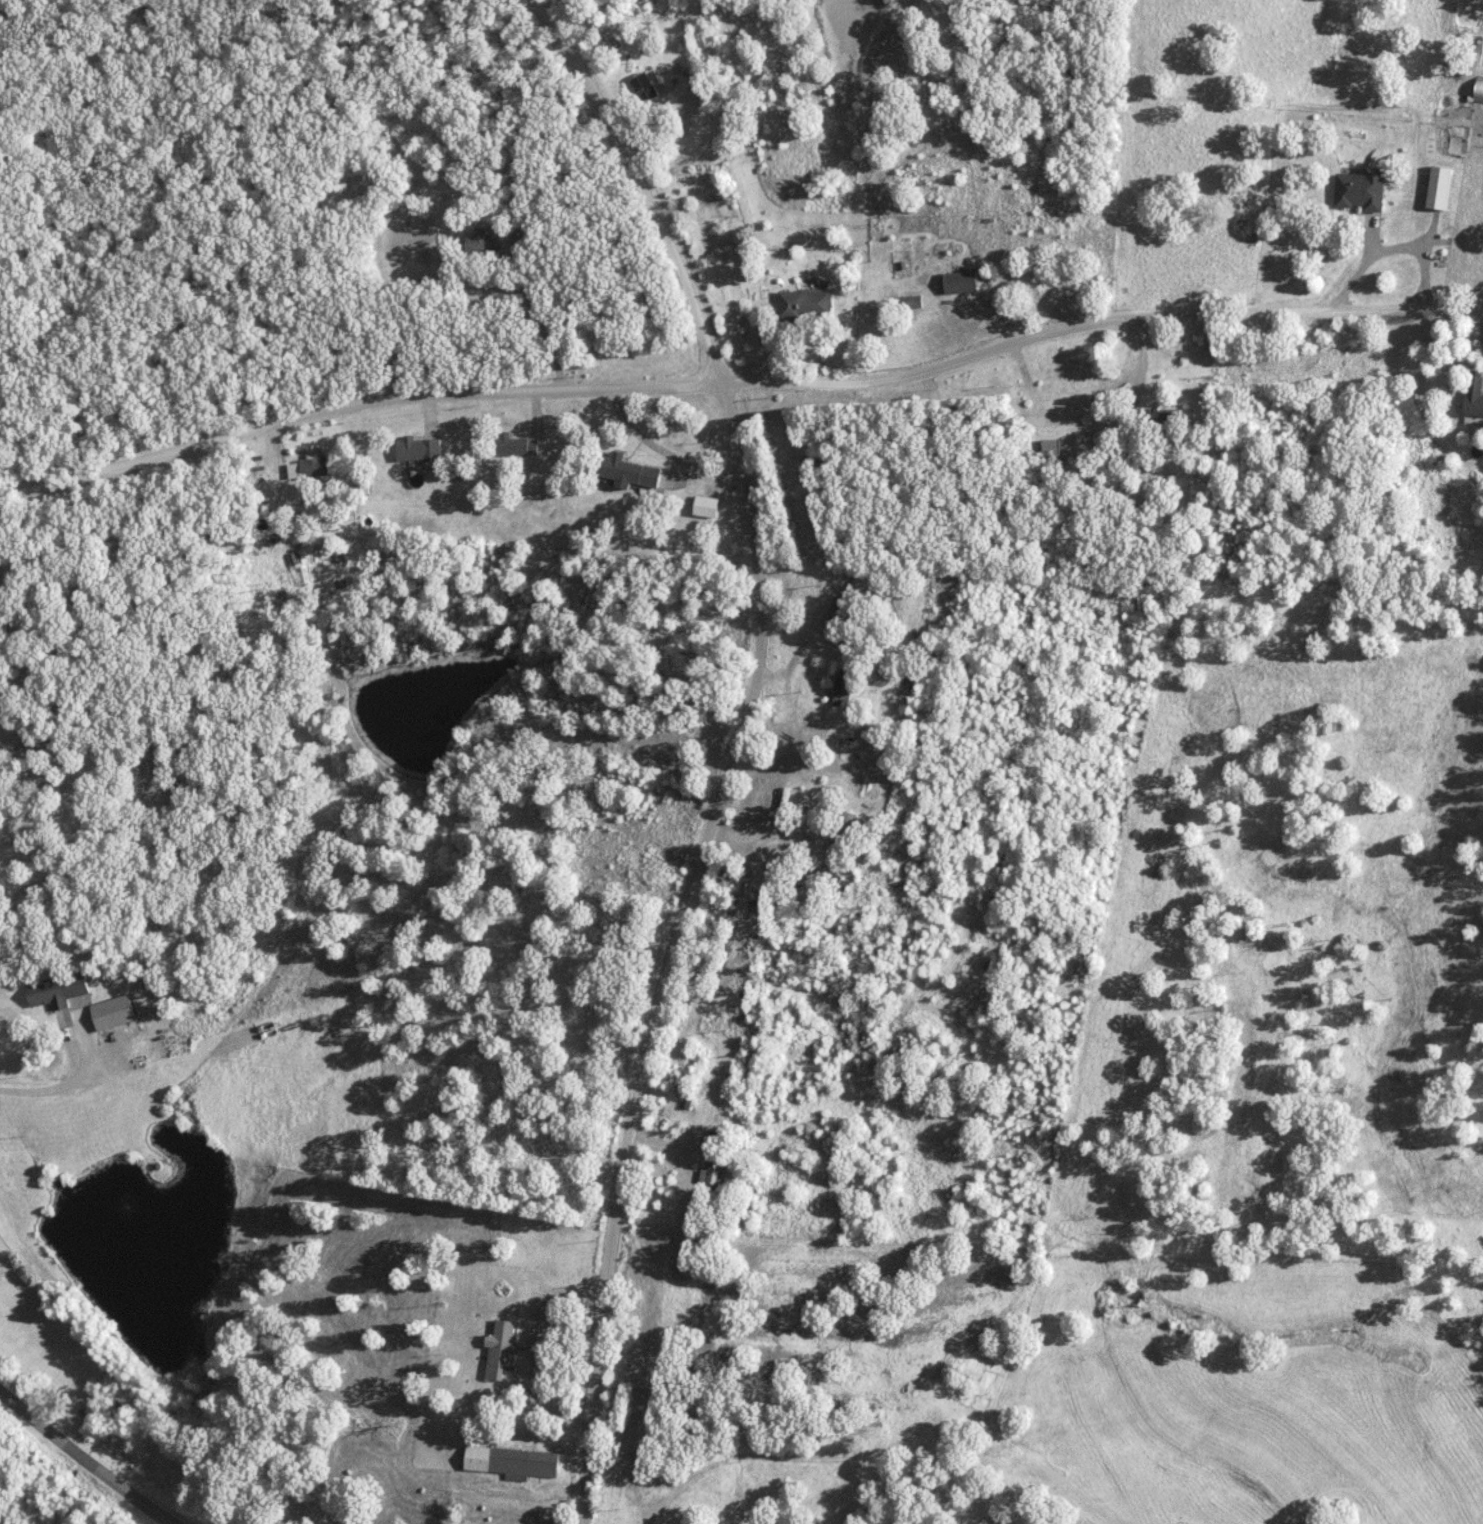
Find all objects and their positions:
building: (1478, 91)
building: (1438, 187)
building: (1358, 190)
building: (477, 243)
road: (1387, 253)
building: (958, 281)
building: (909, 301)
building: (803, 303)
road: (1093, 322)
building: (1473, 396)
road: (351, 402)
building: (1156, 417)
road: (27, 424)
road: (1097, 434)
building: (511, 446)
building: (417, 449)
building: (1050, 449)
road: (661, 452)
building: (313, 468)
building: (627, 471)
building: (704, 506)
building: (297, 527)
building: (836, 615)
building: (841, 688)
road: (734, 742)
building: (843, 832)
building: (833, 882)
building: (46, 993)
building: (749, 1059)
road: (73, 1081)
building: (713, 1168)
building: (498, 1348)
road: (87, 1462)
building: (509, 1462)
building: (552, 1522)

